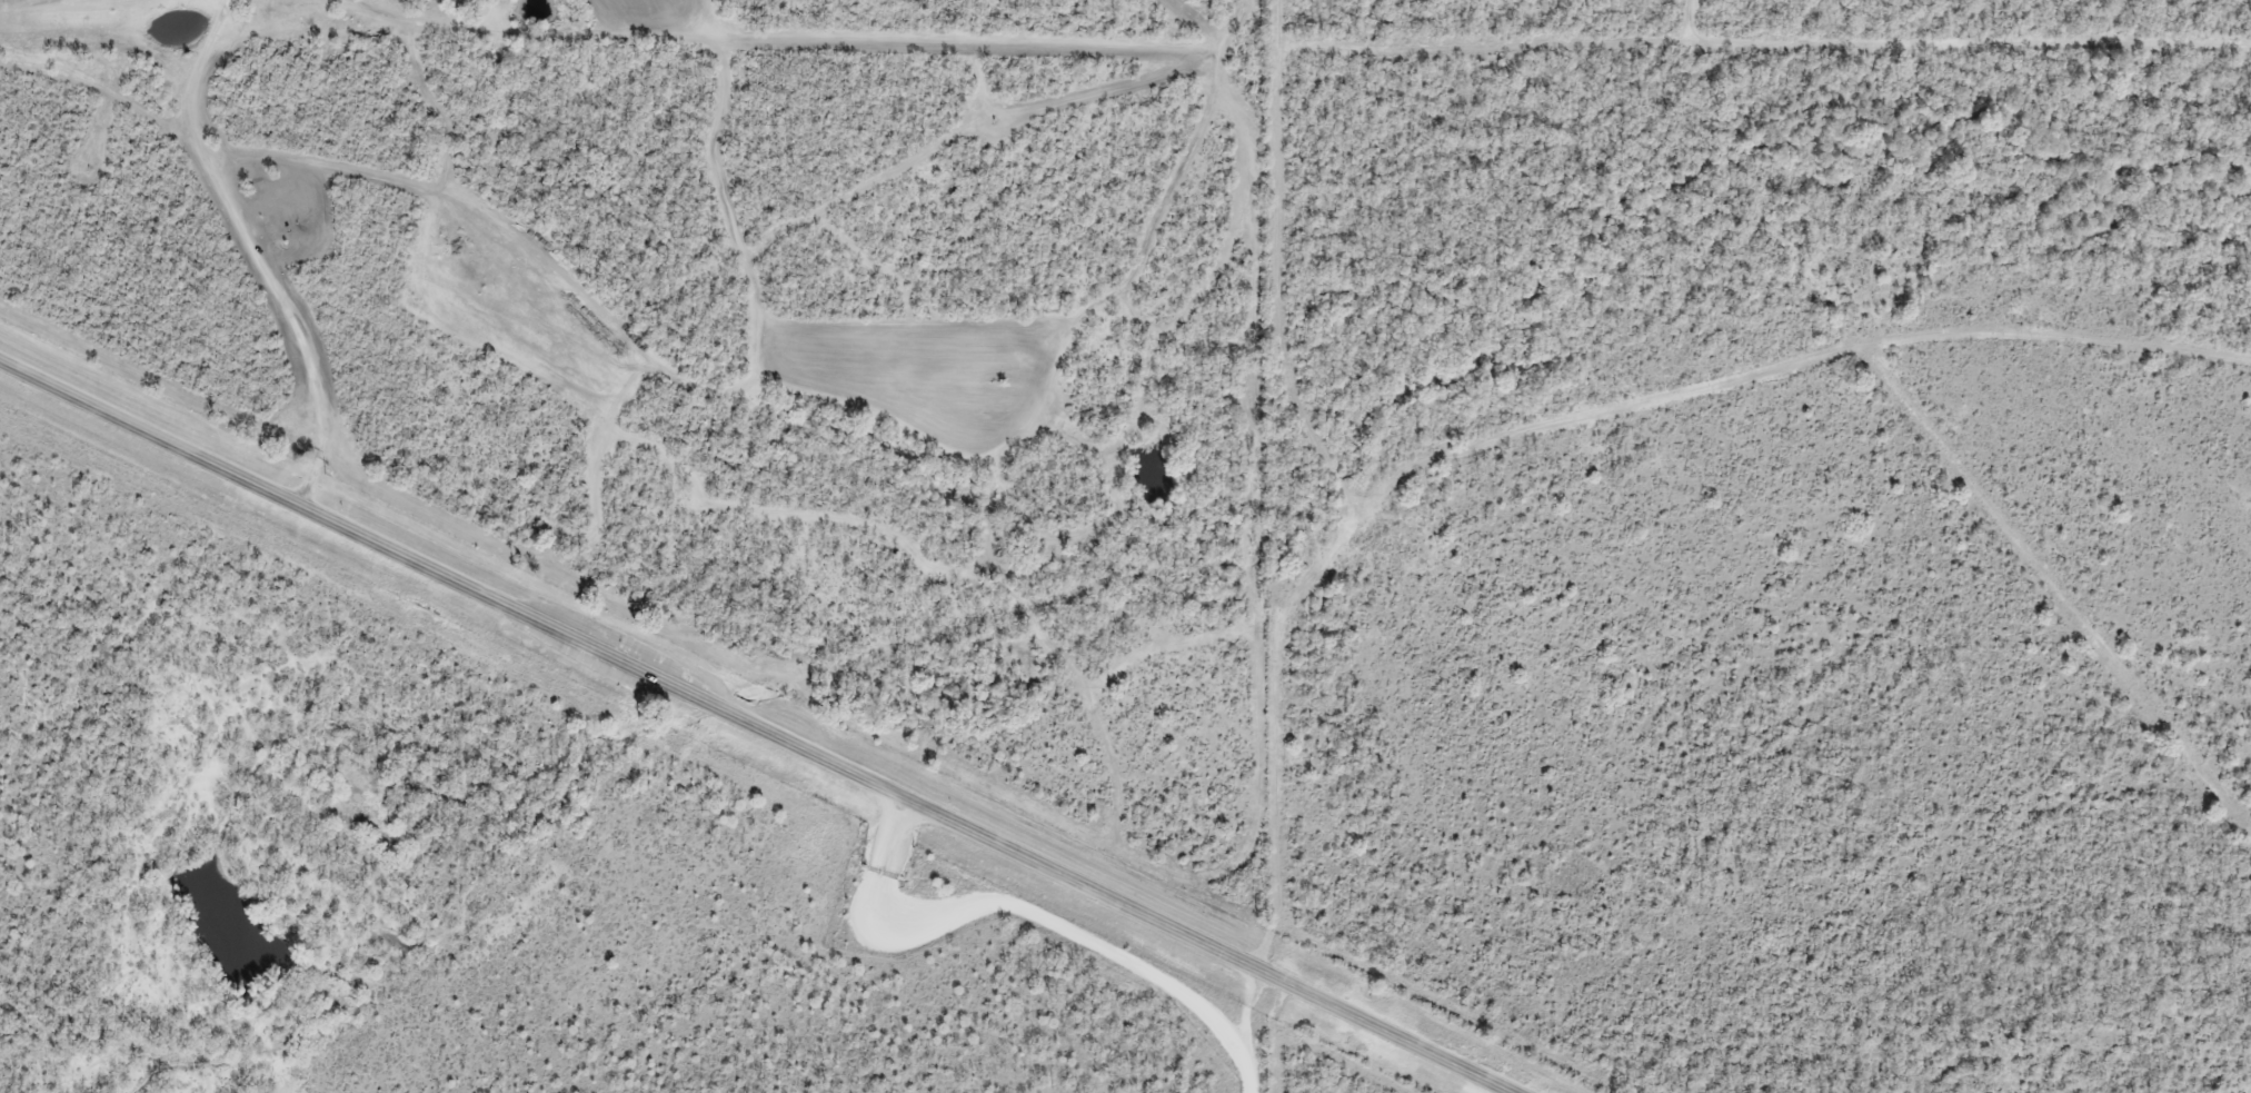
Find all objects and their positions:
road: (250, 254)
road: (757, 735)
road: (1032, 915)

